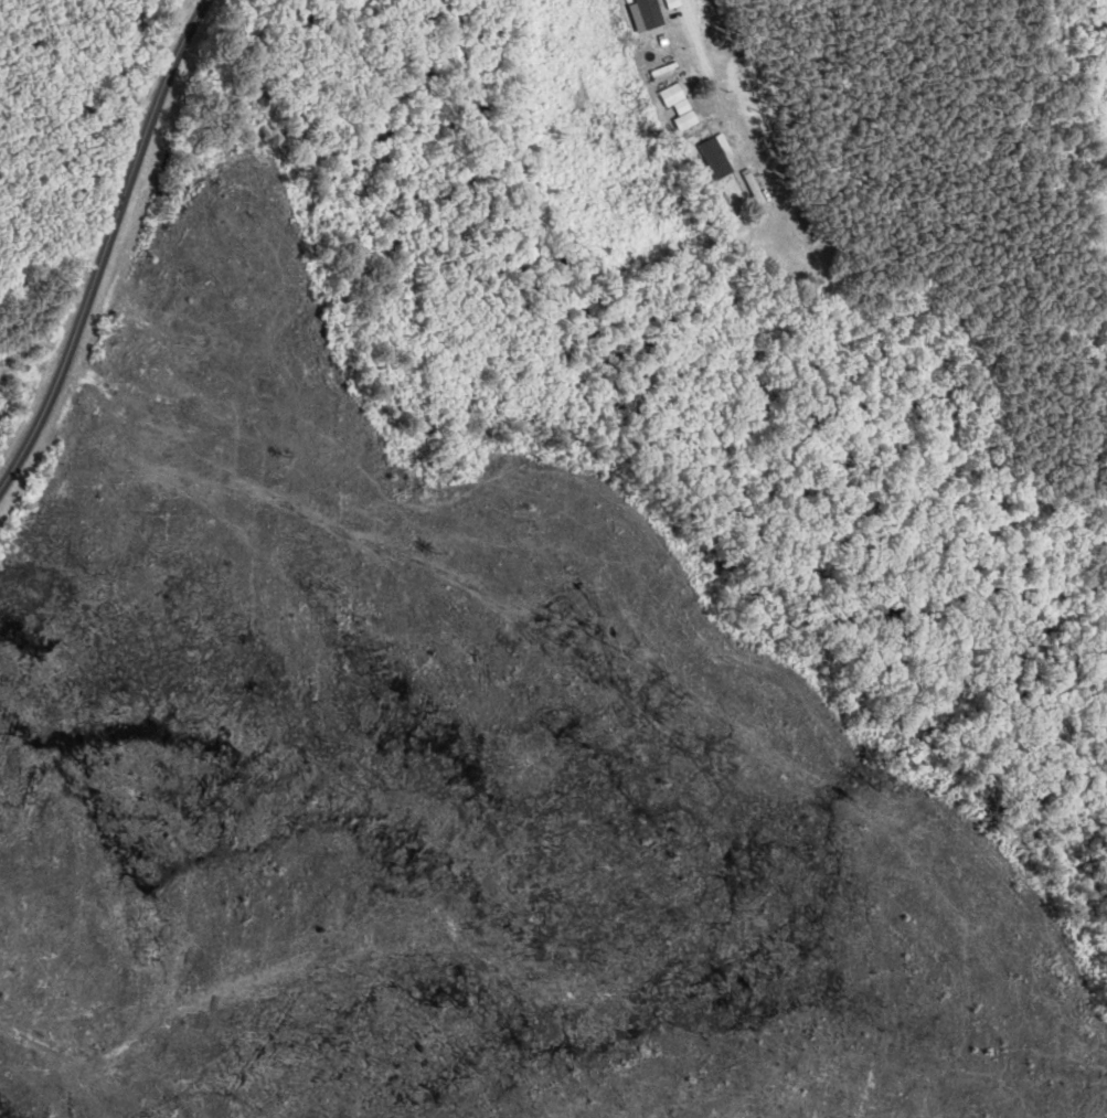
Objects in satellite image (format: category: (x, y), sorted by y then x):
road: (702, 53)
building: (685, 120)
building: (716, 158)
road: (104, 245)

